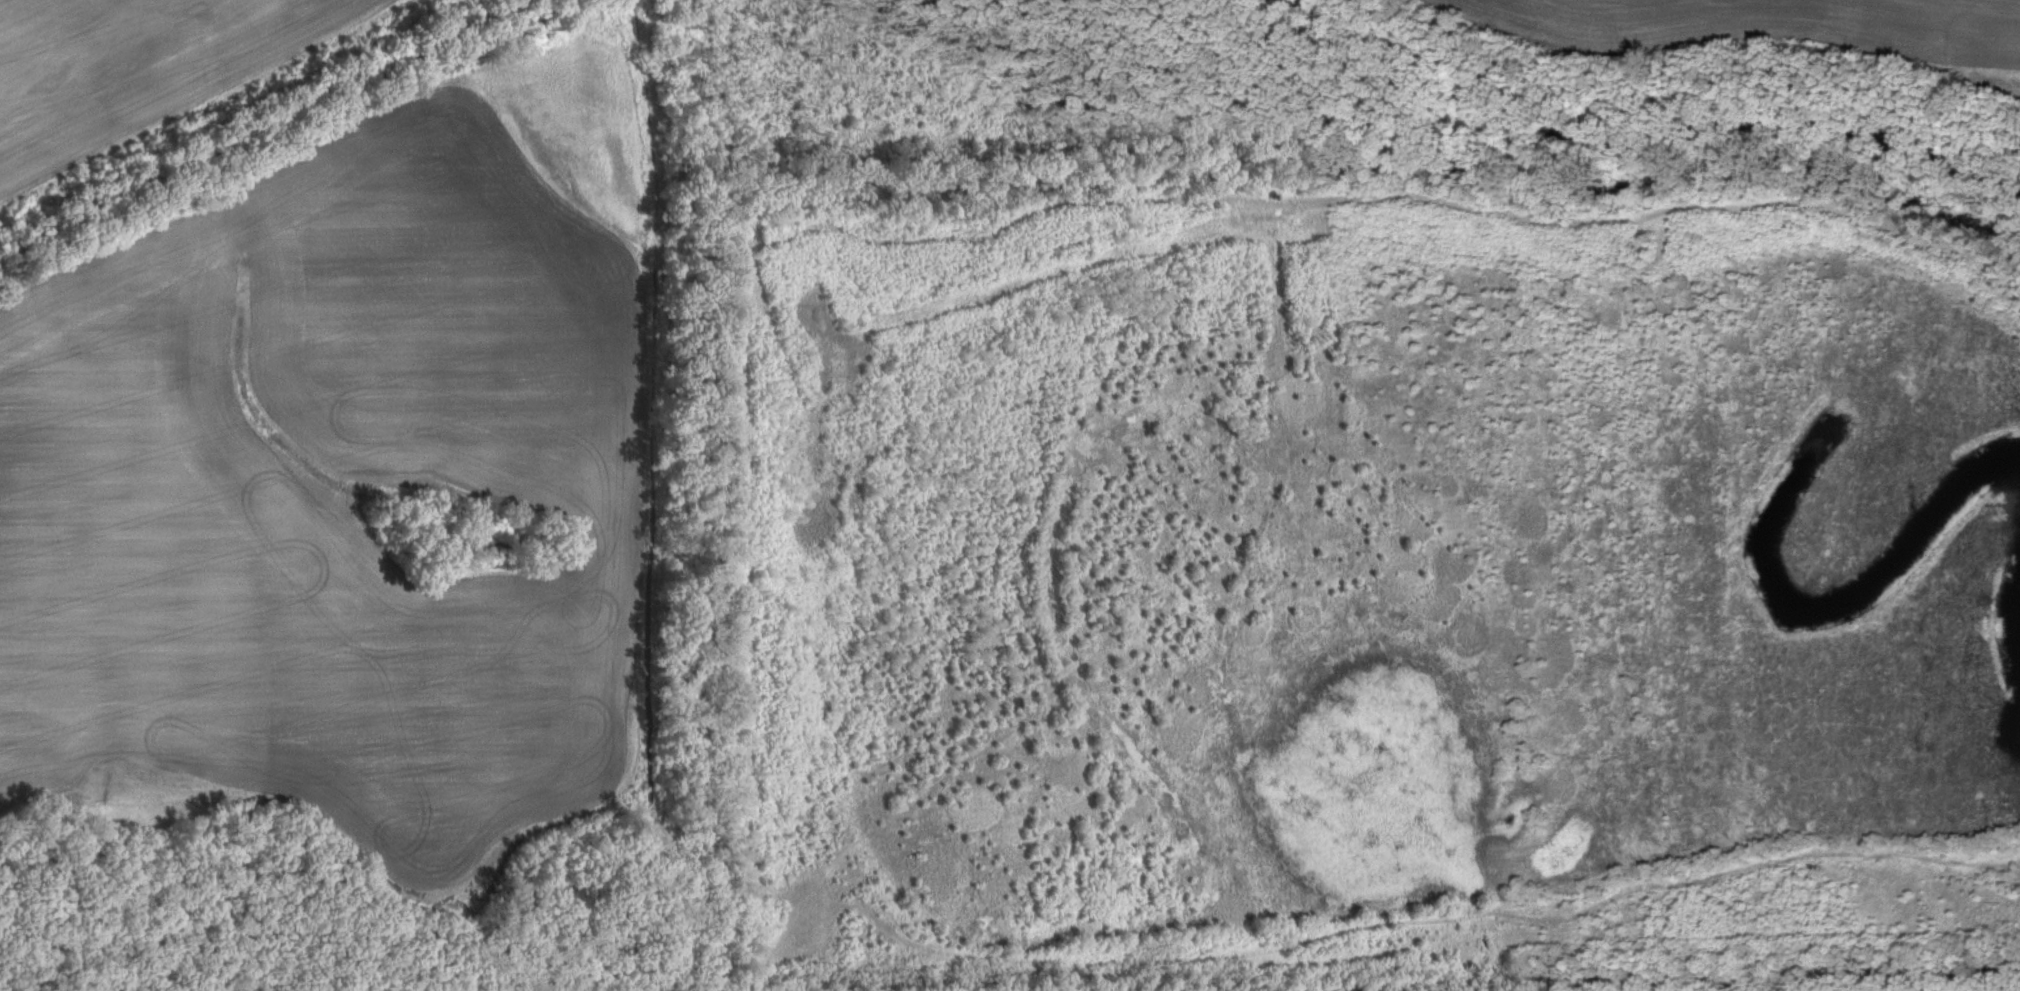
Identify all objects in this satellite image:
crop: (1763, 30)
crop: (132, 67)

